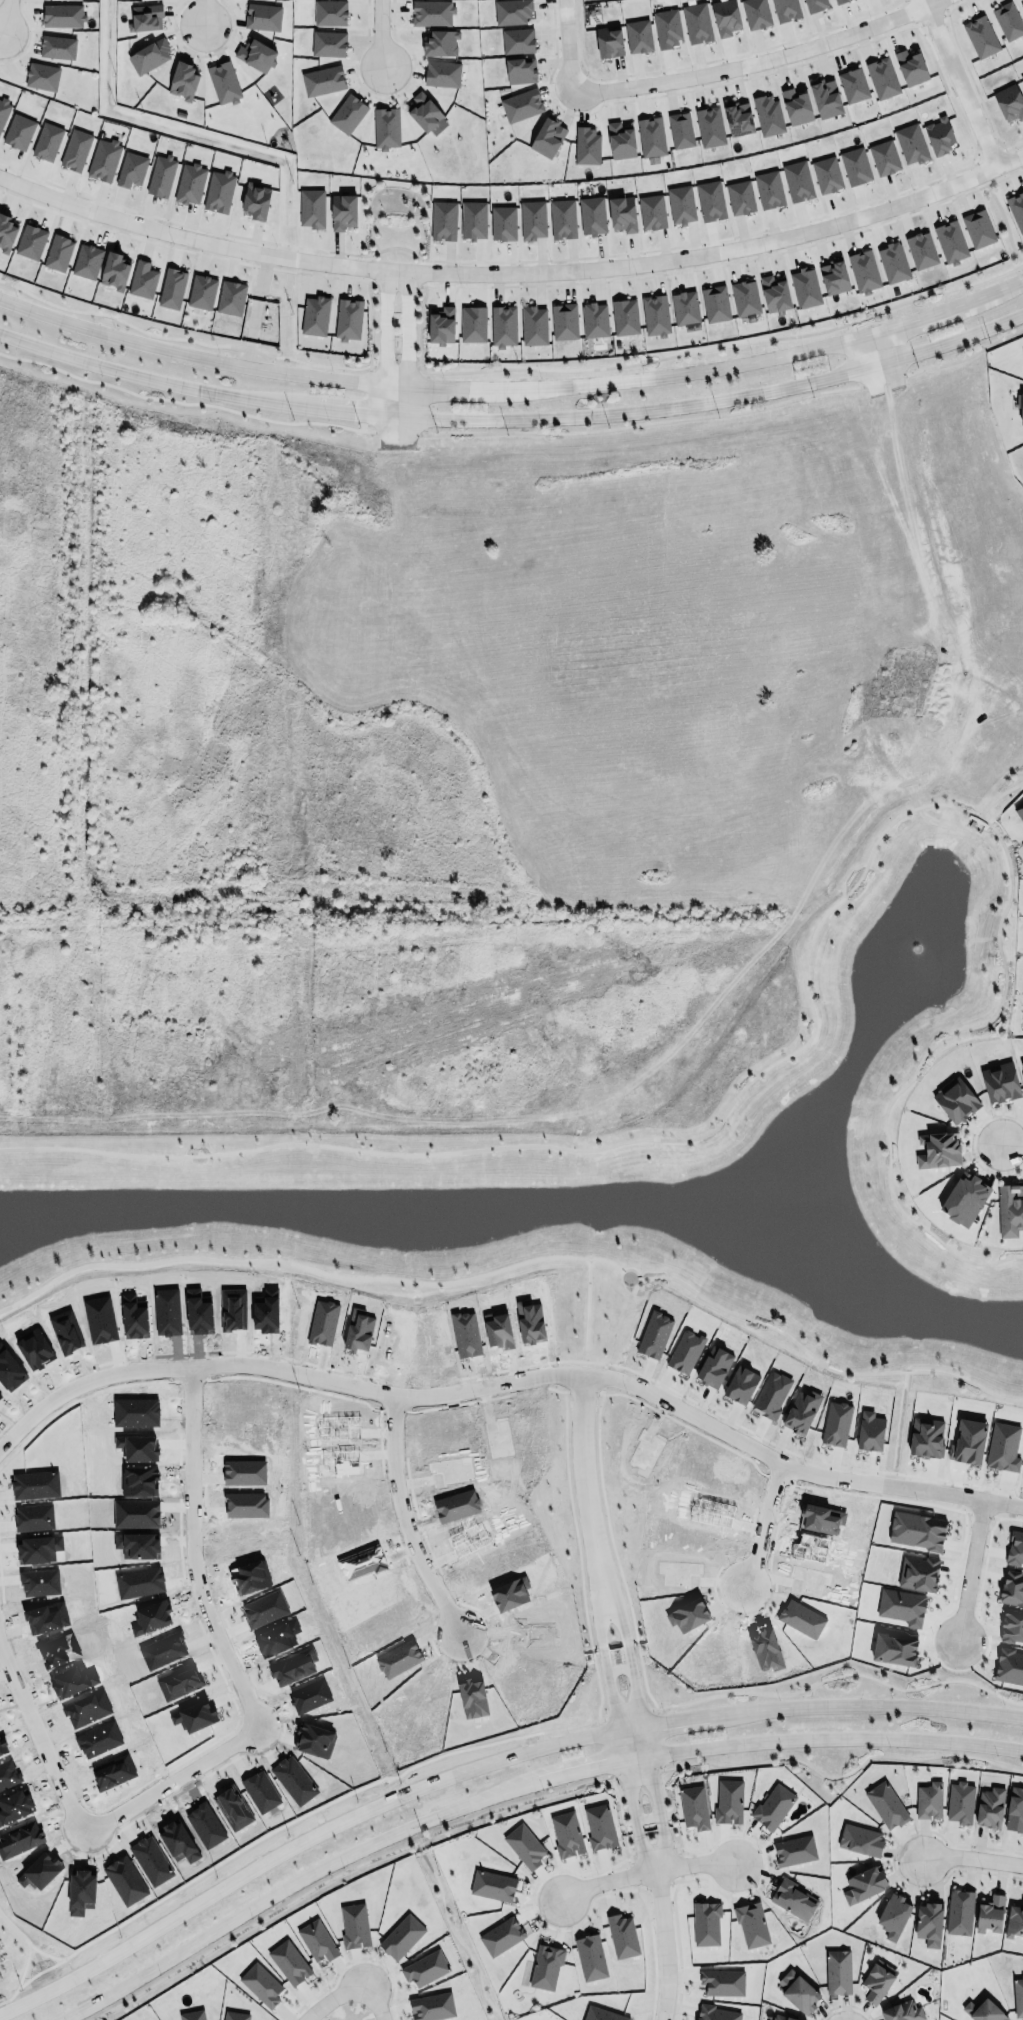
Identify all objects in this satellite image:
building: (837, 1)
building: (813, 4)
building: (1022, 5)
building: (786, 9)
building: (512, 10)
building: (330, 12)
building: (432, 12)
building: (756, 13)
building: (63, 15)
building: (144, 15)
road: (207, 15)
building: (725, 15)
building: (263, 16)
road: (4, 17)
building: (1007, 20)
building: (697, 22)
building: (667, 26)
building: (638, 34)
building: (980, 35)
road: (382, 37)
building: (609, 39)
building: (518, 40)
building: (441, 42)
building: (328, 43)
road: (567, 45)
building: (57, 47)
building: (254, 53)
building: (147, 58)
road: (755, 61)
building: (911, 66)
building: (520, 68)
building: (442, 73)
building: (42, 76)
building: (181, 76)
building: (1022, 76)
building: (882, 78)
building: (322, 80)
building: (222, 82)
road: (959, 82)
building: (853, 83)
building: (826, 97)
building: (1009, 100)
building: (521, 104)
building: (796, 106)
building: (2, 108)
building: (424, 111)
building: (348, 113)
building: (768, 114)
building: (738, 117)
building: (709, 124)
building: (386, 127)
building: (679, 129)
building: (17, 131)
building: (940, 133)
building: (547, 135)
building: (651, 135)
building: (45, 140)
building: (621, 141)
building: (912, 141)
building: (587, 146)
building: (76, 149)
building: (884, 156)
building: (102, 159)
building: (856, 165)
building: (129, 168)
building: (827, 173)
building: (161, 175)
building: (797, 179)
building: (190, 183)
building: (769, 189)
building: (217, 190)
building: (740, 196)
building: (711, 199)
building: (255, 201)
building: (679, 204)
building: (311, 208)
building: (1016, 208)
building: (342, 209)
building: (652, 210)
building: (622, 212)
building: (592, 214)
building: (562, 217)
building: (443, 218)
building: (473, 218)
building: (532, 218)
building: (503, 221)
building: (979, 228)
building: (6, 232)
building: (28, 240)
building: (950, 241)
building: (920, 250)
building: (57, 251)
building: (85, 260)
building: (893, 262)
building: (864, 270)
building: (115, 271)
road: (514, 271)
building: (834, 276)
building: (140, 278)
building: (805, 287)
building: (172, 288)
building: (202, 291)
road: (989, 292)
building: (775, 293)
building: (229, 297)
building: (745, 298)
building: (715, 303)
building: (685, 306)
building: (315, 313)
building: (656, 314)
building: (625, 316)
building: (348, 319)
building: (595, 319)
road: (911, 320)
building: (564, 321)
building: (473, 323)
building: (501, 324)
building: (533, 324)
building: (441, 325)
road: (384, 326)
road: (407, 328)
road: (872, 350)
road: (188, 355)
road: (677, 372)
road: (395, 385)
road: (445, 388)
road: (384, 399)
road: (407, 401)
road: (898, 401)
building: (1020, 405)
road: (879, 407)
road: (710, 413)
road: (513, 417)
road: (902, 463)
road: (384, 475)
road: (407, 476)
road: (450, 536)
road: (932, 563)
road: (32, 608)
road: (480, 624)
road: (93, 666)
road: (855, 673)
road: (580, 710)
road: (1017, 717)
road: (998, 791)
building: (1019, 810)
road: (763, 814)
building: (1022, 823)
road: (187, 865)
road: (576, 873)
road: (388, 877)
fountain: (918, 945)
road: (807, 989)
road: (395, 1037)
building: (1021, 1067)
building: (1000, 1082)
building: (955, 1099)
road: (970, 1142)
road: (1010, 1143)
building: (938, 1150)
building: (964, 1198)
building: (1010, 1208)
road: (523, 1260)
road: (616, 1379)
road: (84, 1383)
building: (836, 1423)
building: (870, 1431)
road: (584, 1494)
road: (404, 1520)
road: (763, 1527)
road: (970, 1570)
building: (801, 1618)
building: (1010, 1626)
road: (631, 1664)
road: (605, 1669)
road: (843, 1675)
road: (878, 1705)
road: (674, 1718)
road: (244, 1734)
road: (634, 1772)
road: (841, 1774)
road: (651, 1776)
road: (627, 1782)
road: (515, 1786)
building: (928, 1800)
building: (728, 1801)
building: (960, 1802)
building: (885, 1803)
building: (773, 1806)
building: (694, 1807)
building: (990, 1807)
building: (1014, 1809)
road: (620, 1818)
building: (860, 1839)
road: (296, 1845)
building: (524, 1846)
road: (651, 1847)
road: (660, 1849)
road: (676, 1849)
road: (645, 1852)
road: (971, 1854)
road: (891, 1860)
road: (764, 1865)
road: (679, 1866)
road: (645, 1871)
road: (632, 1874)
road: (339, 1875)
road: (657, 1884)
building: (864, 1884)
building: (492, 1885)
road: (638, 1888)
building: (793, 1899)
road: (602, 1905)
building: (958, 1911)
building: (990, 1914)
building: (893, 1916)
road: (528, 1920)
building: (1015, 1920)
building: (706, 1923)
building: (929, 1923)
building: (354, 1925)
building: (752, 1925)
road: (452, 1933)
building: (401, 1936)
building: (501, 1936)
building: (317, 1940)
road: (664, 1944)
parking lot: (606, 1947)
road: (679, 1950)
road: (651, 1953)
road: (352, 1959)
building: (289, 1962)
road: (40, 1964)
building: (546, 1966)
building: (425, 1968)
building: (836, 1971)
building: (734, 1973)
building: (876, 1981)
building: (261, 1984)
road: (352, 1985)
building: (798, 1991)
building: (1018, 1996)
road: (844, 2004)
building: (432, 2006)
building: (902, 2010)
building: (983, 2010)
building: (717, 2013)
building: (192, 2015)
building: (234, 2015)
building: (784, 2016)

